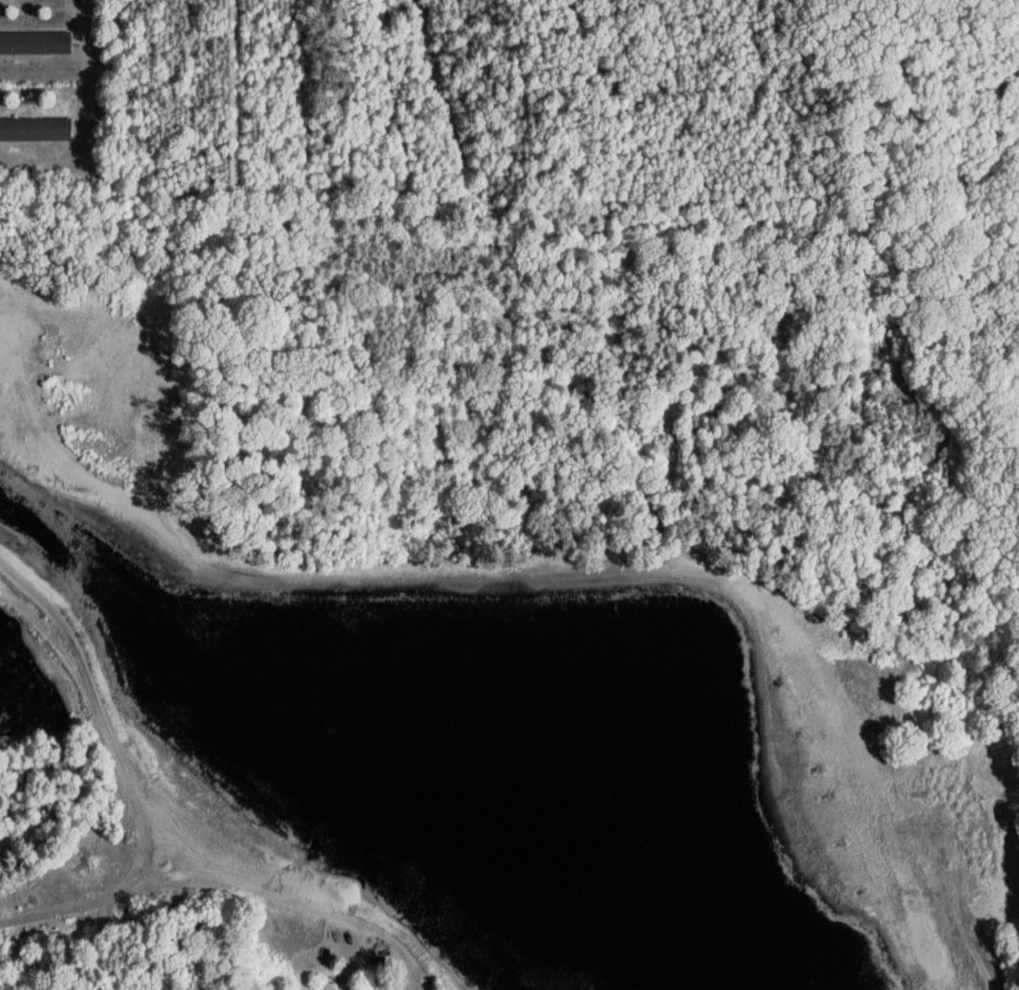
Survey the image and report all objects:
building: (34, 43)
crop: (51, 96)
building: (34, 130)
road: (156, 834)
road: (101, 903)

